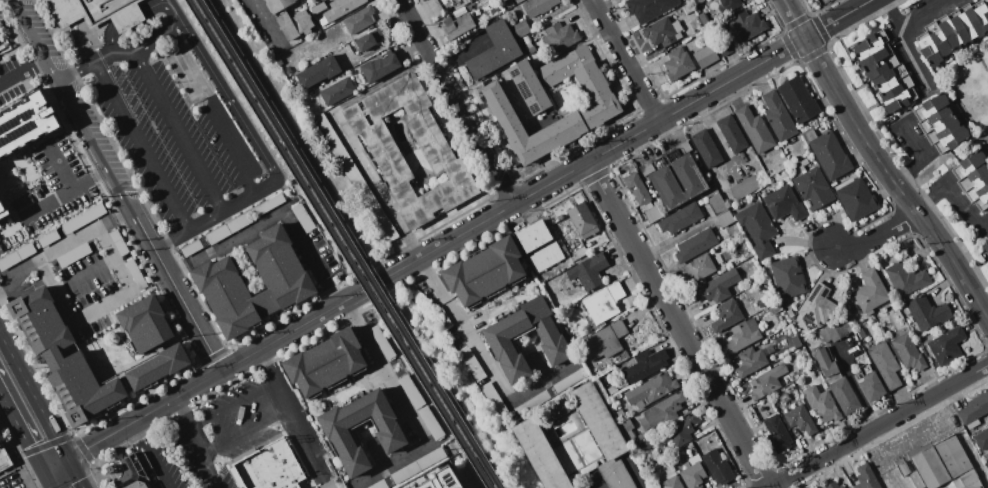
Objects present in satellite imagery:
building: (317, 0)
building: (503, 0)
building: (688, 0)
building: (468, 1)
building: (699, 1)
building: (278, 4)
building: (729, 4)
road: (157, 5)
building: (538, 6)
building: (318, 7)
building: (650, 8)
building: (89, 9)
building: (340, 9)
building: (686, 9)
road: (895, 15)
building: (128, 18)
road: (260, 18)
building: (704, 18)
building: (974, 19)
building: (360, 20)
road: (129, 21)
building: (295, 23)
building: (457, 25)
building: (747, 25)
building: (520, 28)
building: (953, 30)
building: (379, 31)
building: (663, 31)
building: (8, 33)
building: (539, 35)
road: (901, 35)
building: (560, 36)
road: (114, 39)
building: (526, 39)
building: (366, 41)
building: (870, 42)
building: (933, 44)
building: (529, 45)
building: (725, 46)
building: (495, 50)
building: (532, 50)
road: (125, 52)
building: (706, 55)
road: (626, 60)
building: (877, 60)
building: (678, 63)
building: (379, 66)
road: (24, 70)
building: (288, 70)
building: (318, 72)
building: (892, 82)
building: (30, 84)
building: (529, 87)
building: (338, 91)
building: (798, 99)
building: (899, 100)
road: (232, 101)
road: (457, 102)
building: (930, 106)
building: (602, 107)
building: (315, 109)
building: (778, 116)
building: (934, 119)
road: (86, 124)
building: (754, 129)
building: (941, 129)
road: (180, 132)
park: (287, 132)
building: (732, 133)
building: (951, 139)
parking lot: (175, 141)
building: (434, 146)
road: (144, 147)
building: (706, 148)
building: (828, 152)
building: (34, 154)
road: (236, 156)
road: (921, 156)
building: (665, 157)
road: (879, 162)
building: (968, 164)
road: (371, 173)
building: (355, 177)
building: (973, 177)
building: (678, 181)
building: (745, 187)
building: (814, 188)
building: (977, 190)
road: (955, 192)
building: (641, 196)
building: (856, 198)
building: (982, 201)
building: (784, 203)
building: (720, 210)
building: (304, 217)
building: (84, 218)
building: (681, 218)
building: (582, 220)
road: (206, 223)
building: (234, 224)
building: (758, 228)
road: (470, 230)
building: (4, 231)
road: (879, 234)
building: (533, 235)
building: (49, 237)
road: (70, 239)
road: (355, 241)
building: (119, 242)
railway: (337, 244)
railway: (347, 244)
building: (696, 244)
road: (412, 246)
building: (985, 247)
building: (1, 251)
building: (581, 252)
building: (74, 255)
building: (16, 256)
building: (723, 256)
building: (546, 257)
building: (728, 266)
building: (699, 268)
road: (318, 270)
building: (485, 271)
building: (588, 271)
building: (136, 274)
building: (788, 277)
building: (906, 278)
building: (218, 281)
road: (9, 286)
building: (717, 287)
building: (870, 291)
building: (603, 303)
building: (817, 305)
building: (775, 308)
building: (906, 309)
road: (188, 310)
building: (790, 312)
building: (928, 312)
road: (89, 314)
building: (727, 315)
building: (442, 316)
building: (145, 322)
road: (679, 324)
building: (832, 331)
building: (861, 332)
building: (742, 335)
building: (383, 341)
building: (499, 341)
building: (604, 342)
building: (947, 346)
building: (908, 352)
building: (63, 357)
building: (327, 361)
road: (485, 361)
building: (751, 361)
building: (825, 362)
building: (472, 364)
building: (885, 365)
building: (643, 366)
building: (158, 367)
building: (767, 382)
building: (870, 384)
road: (857, 387)
building: (613, 389)
building: (412, 390)
building: (650, 390)
building: (551, 391)
park: (452, 392)
building: (845, 395)
road: (33, 396)
building: (494, 398)
road: (288, 400)
building: (822, 404)
road: (406, 405)
road: (233, 406)
building: (975, 408)
building: (556, 410)
building: (665, 410)
road: (314, 413)
building: (620, 413)
building: (598, 419)
building: (801, 419)
building: (430, 422)
building: (973, 423)
building: (628, 424)
road: (878, 426)
building: (682, 428)
road: (20, 430)
road: (247, 431)
building: (778, 433)
parking lot: (214, 437)
building: (393, 437)
building: (982, 439)
road: (195, 443)
building: (690, 445)
building: (698, 447)
building: (540, 454)
road: (149, 455)
building: (985, 457)
traffic signals: (68, 458)
building: (4, 459)
building: (145, 462)
road: (54, 463)
building: (687, 464)
building: (329, 465)
building: (943, 466)
building: (268, 467)
building: (718, 467)
building: (410, 468)
building: (903, 468)
traffic signals: (41, 469)
road: (634, 472)
road: (75, 473)
building: (615, 474)
building: (693, 475)
building: (452, 476)
building: (866, 477)
road: (46, 478)
road: (596, 482)
building: (671, 483)
building: (137, 484)
building: (333, 484)
building: (833, 485)
building: (588, 486)
parking lot: (242, 487)
building: (850, 487)

